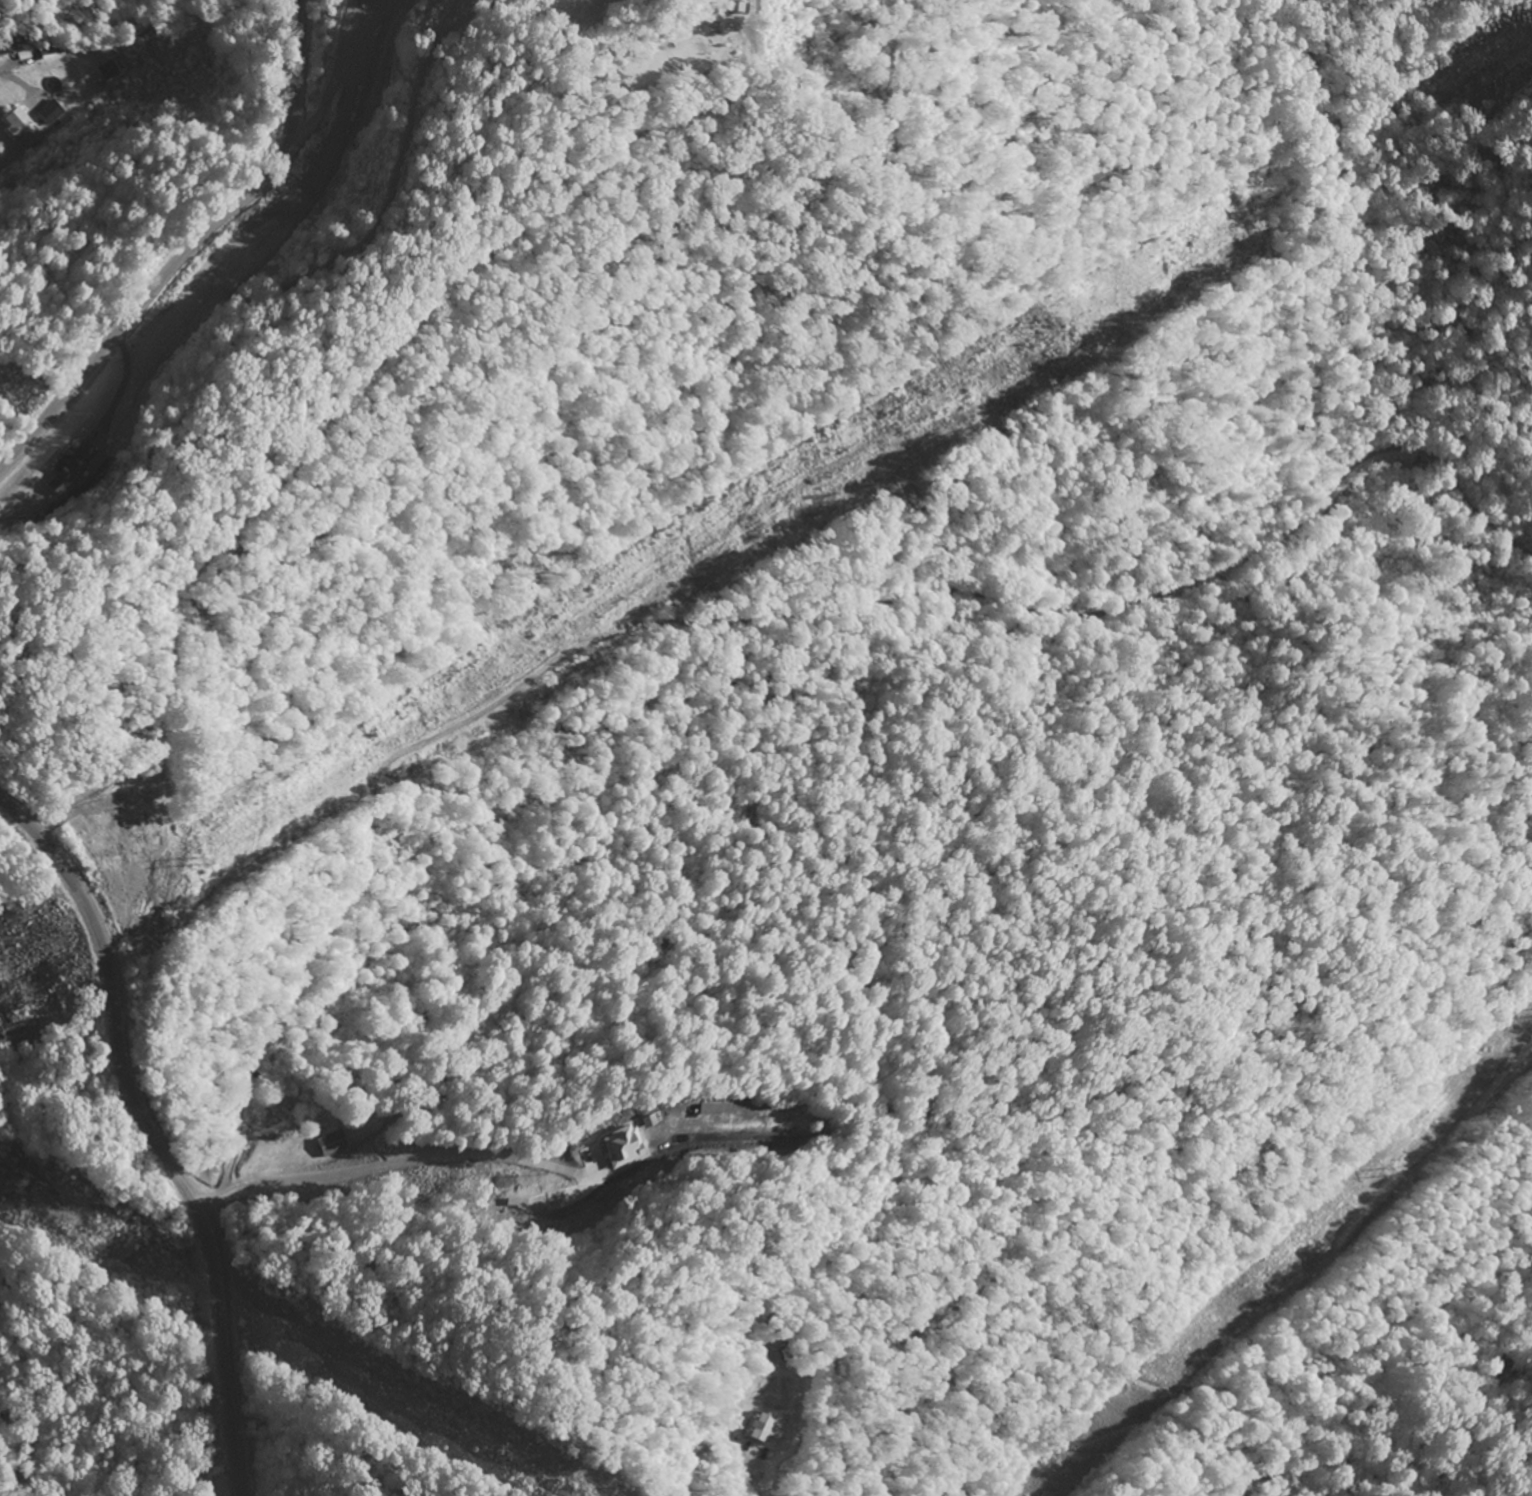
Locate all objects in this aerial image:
building: (21, 127)
road: (185, 244)
road: (151, 1134)
building: (615, 1147)
road: (385, 1164)
power tower: (1, 1185)
building: (761, 1430)
power tower: (543, 1495)

